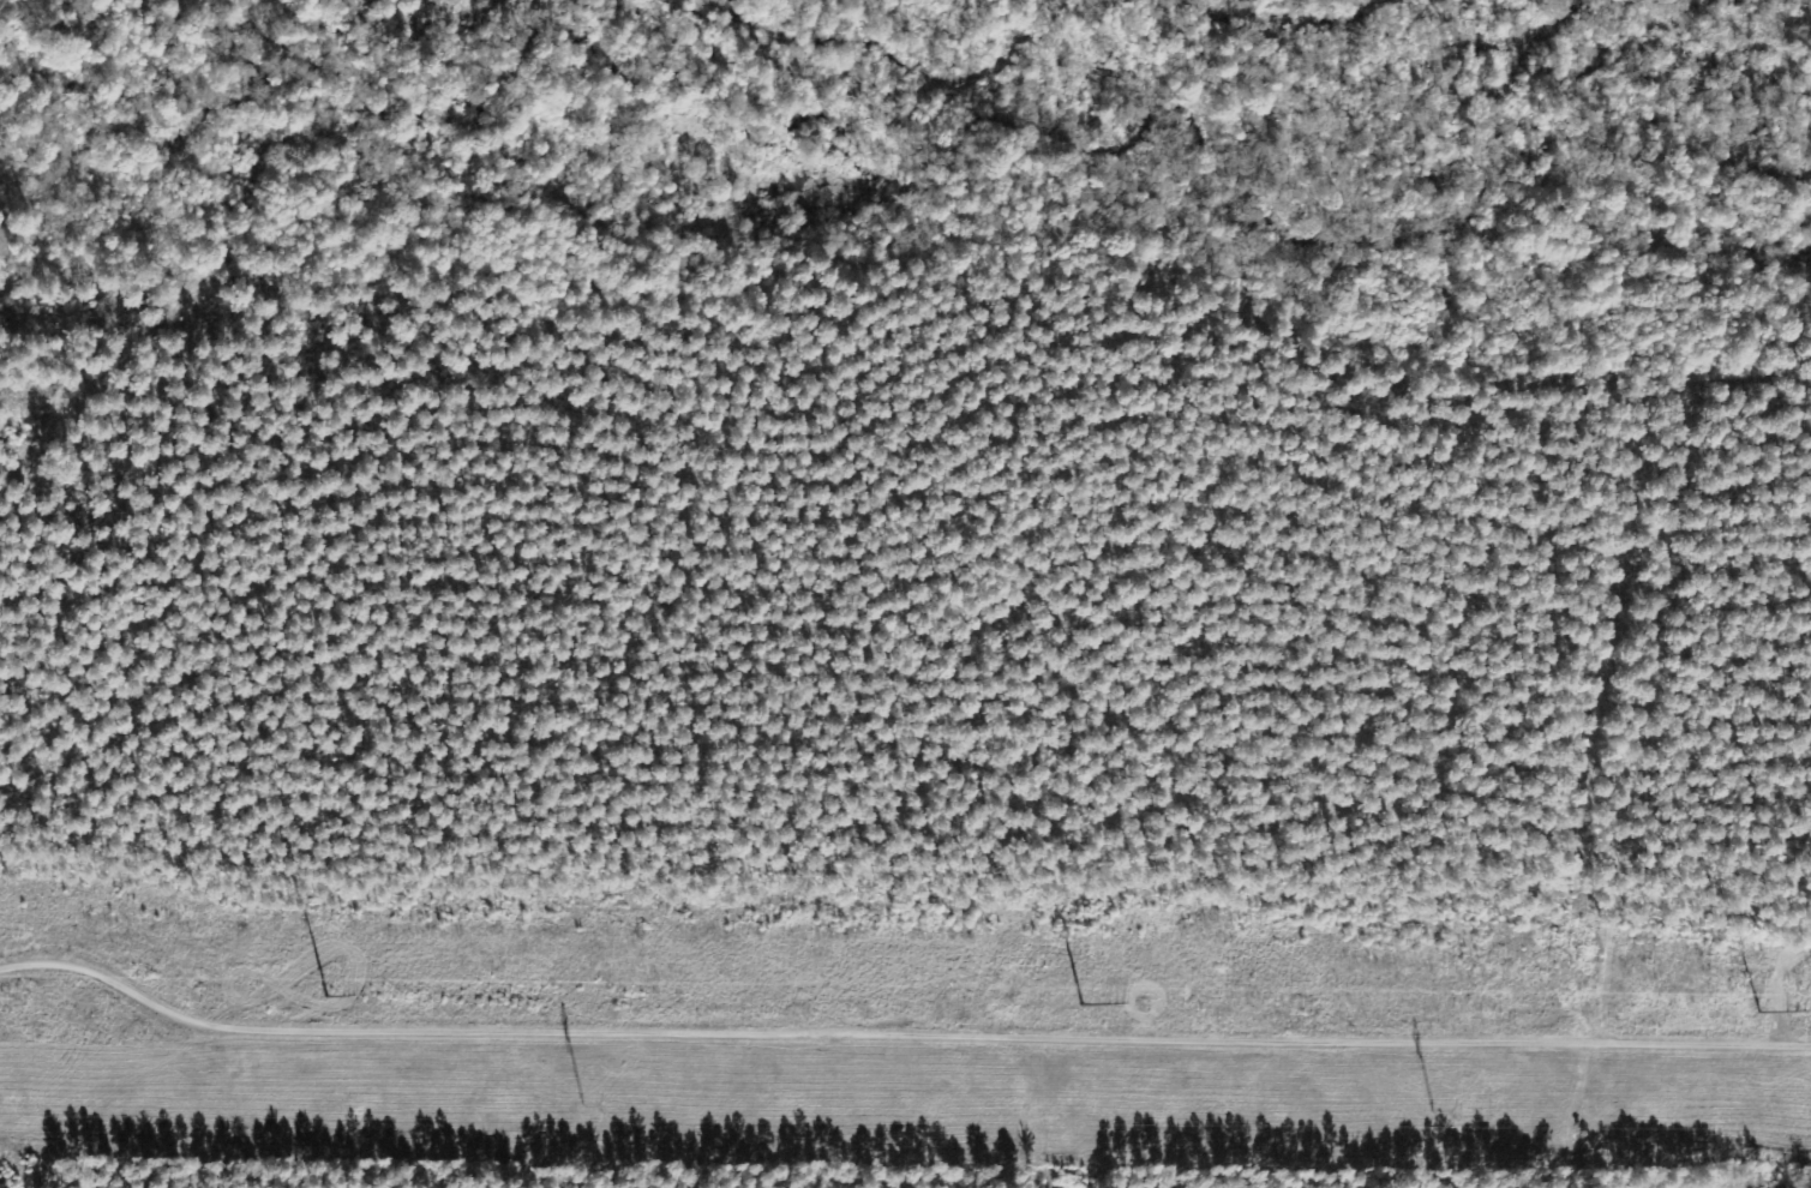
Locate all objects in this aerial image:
power tower: (582, 1100)
power tower: (1432, 1108)

